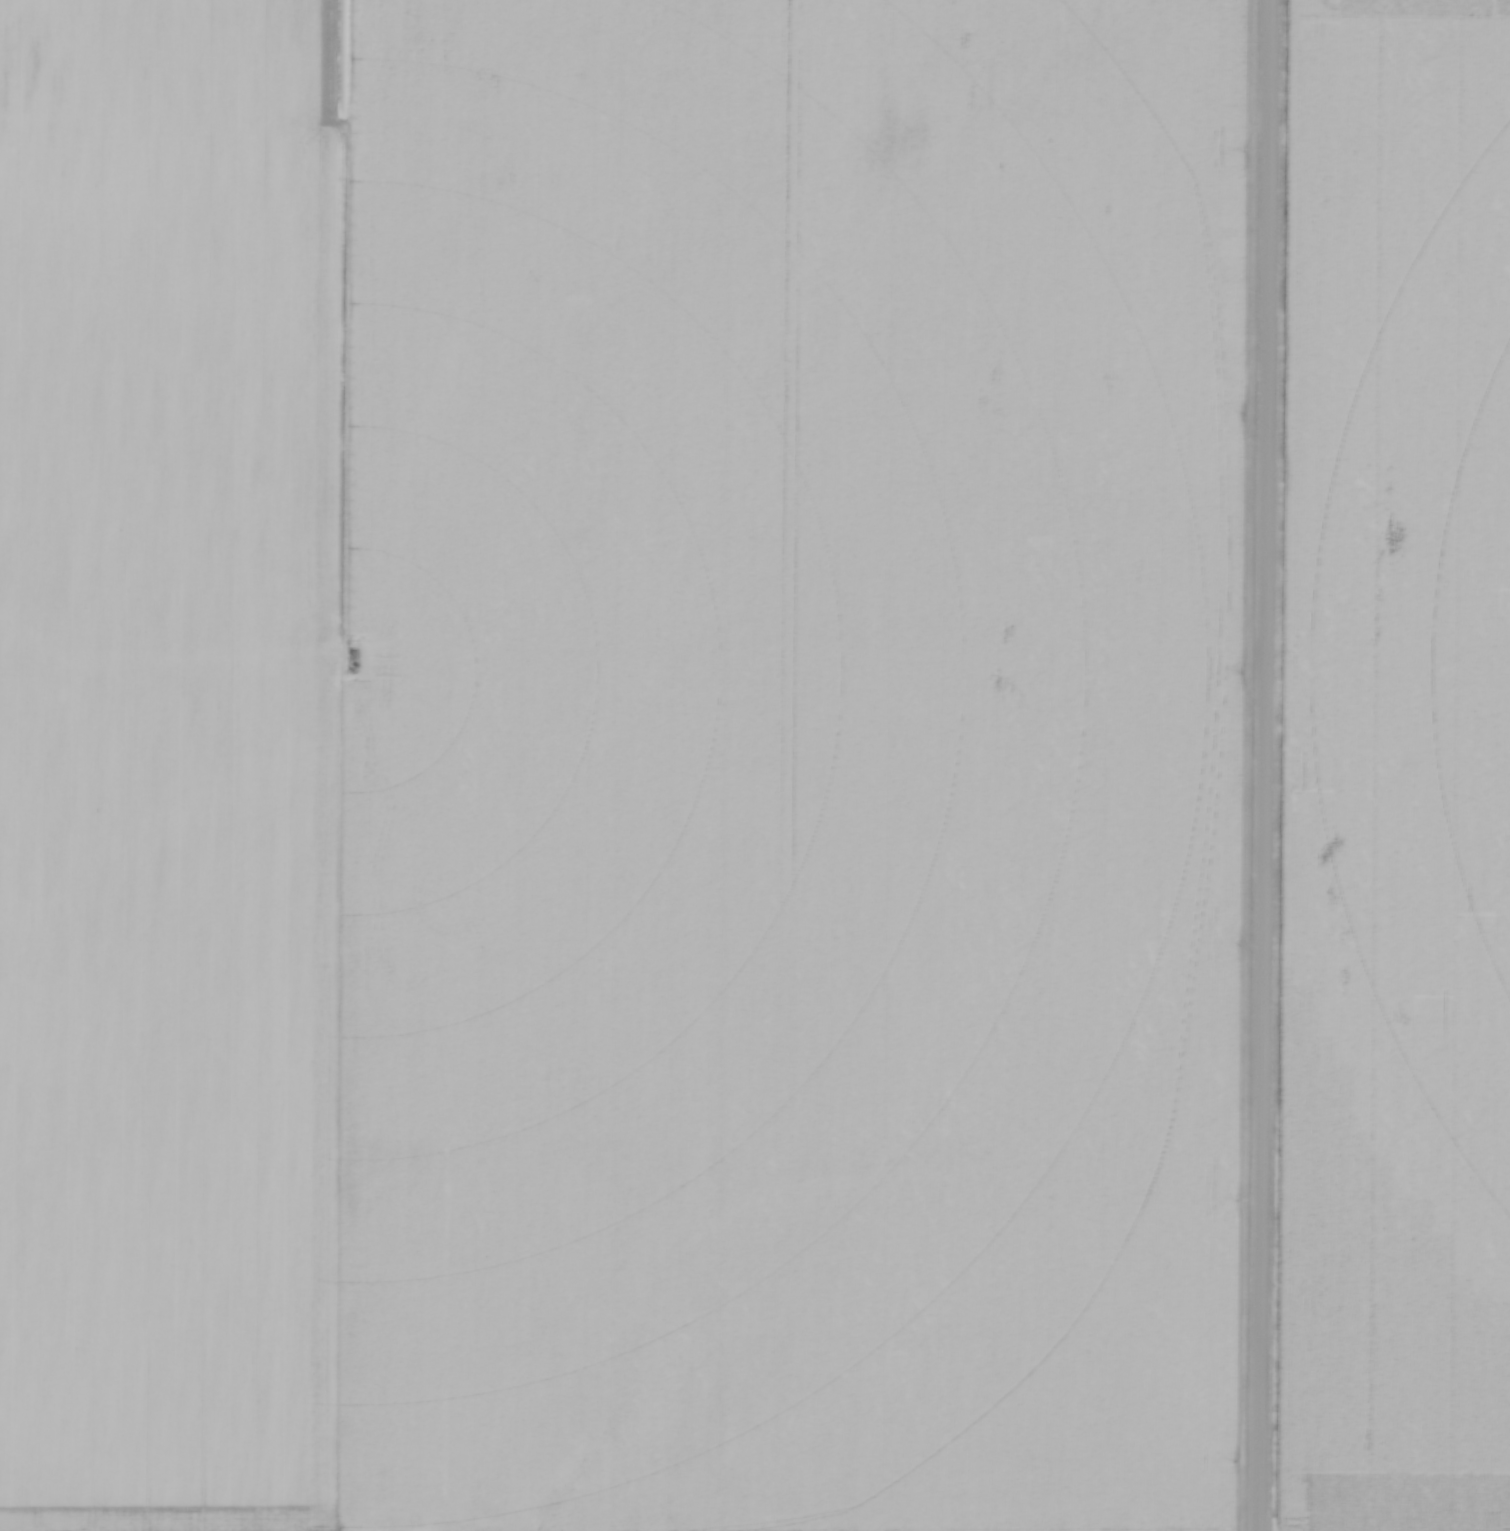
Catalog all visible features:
road: (1258, 765)

